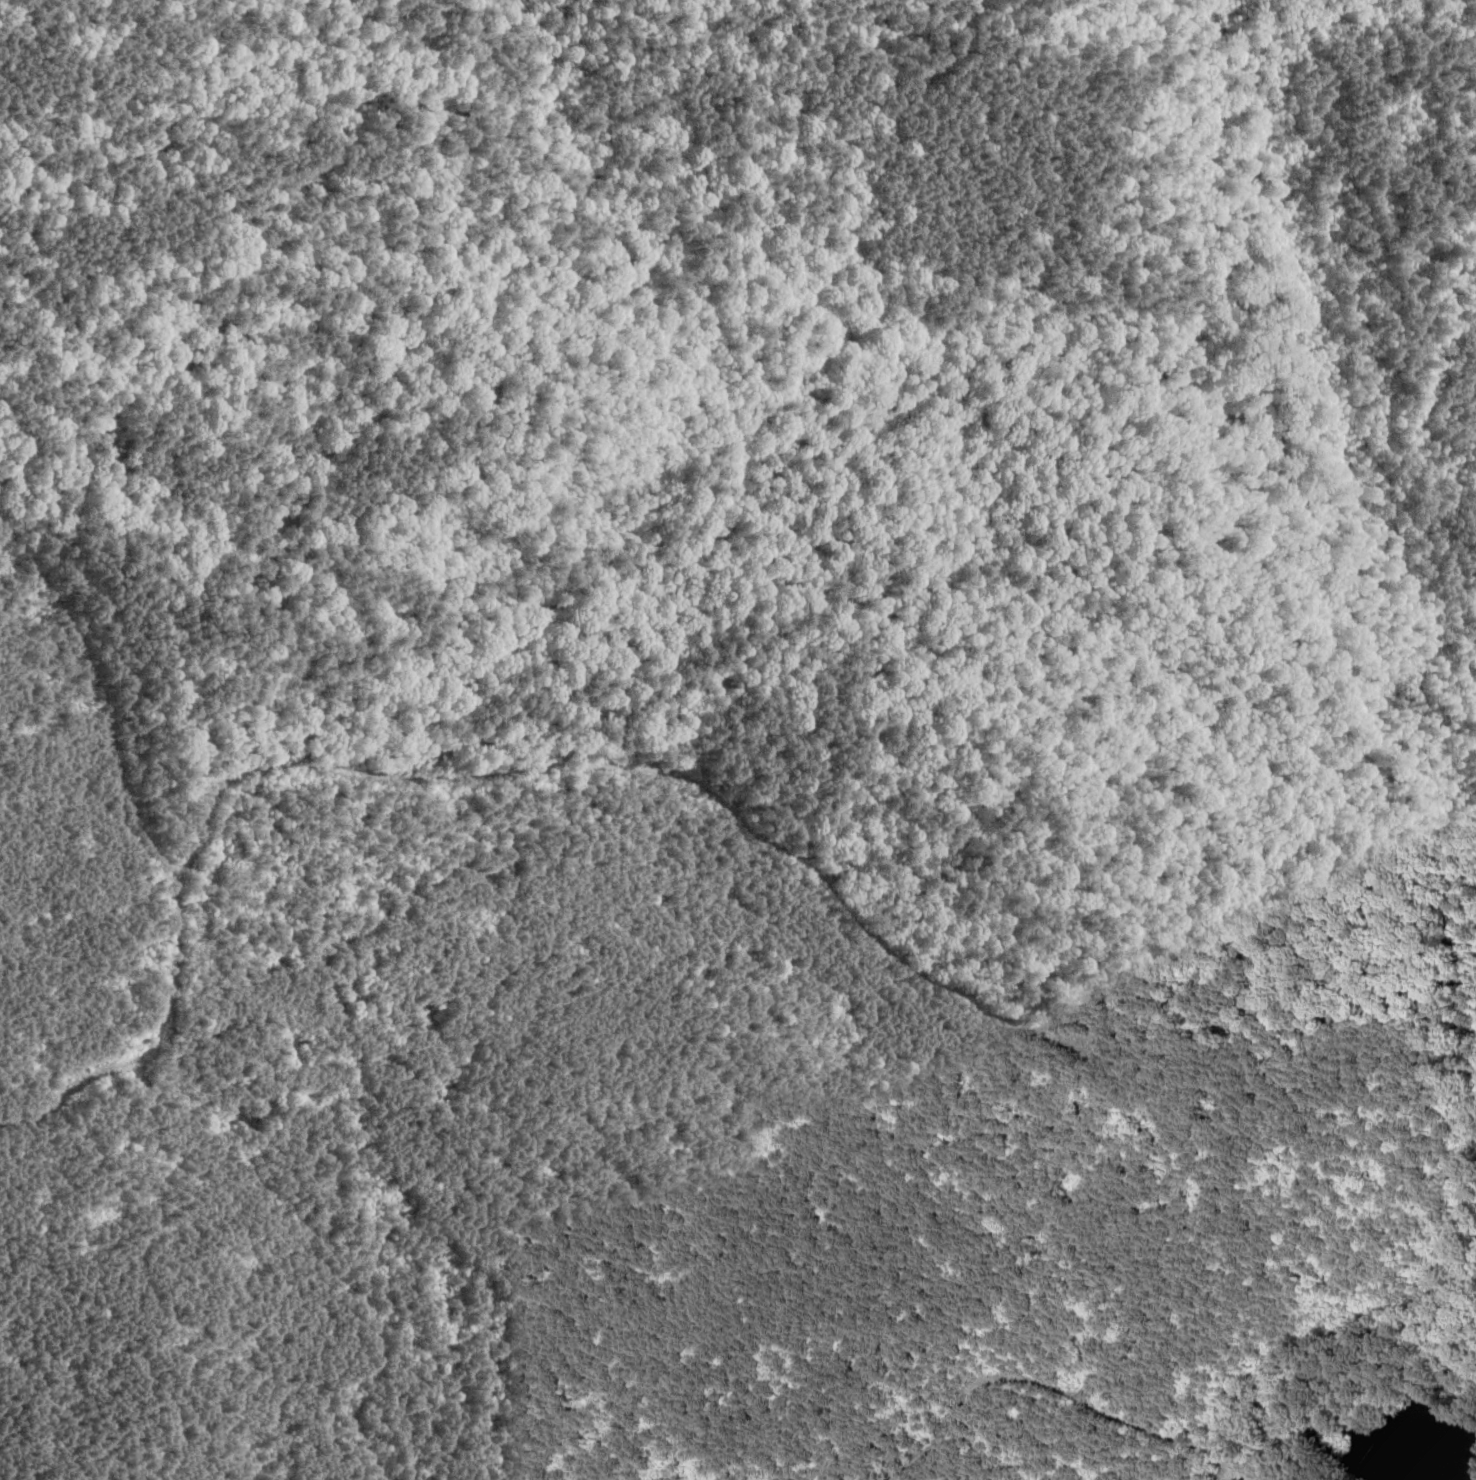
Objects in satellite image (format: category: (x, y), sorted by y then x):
road: (1050, 1431)

